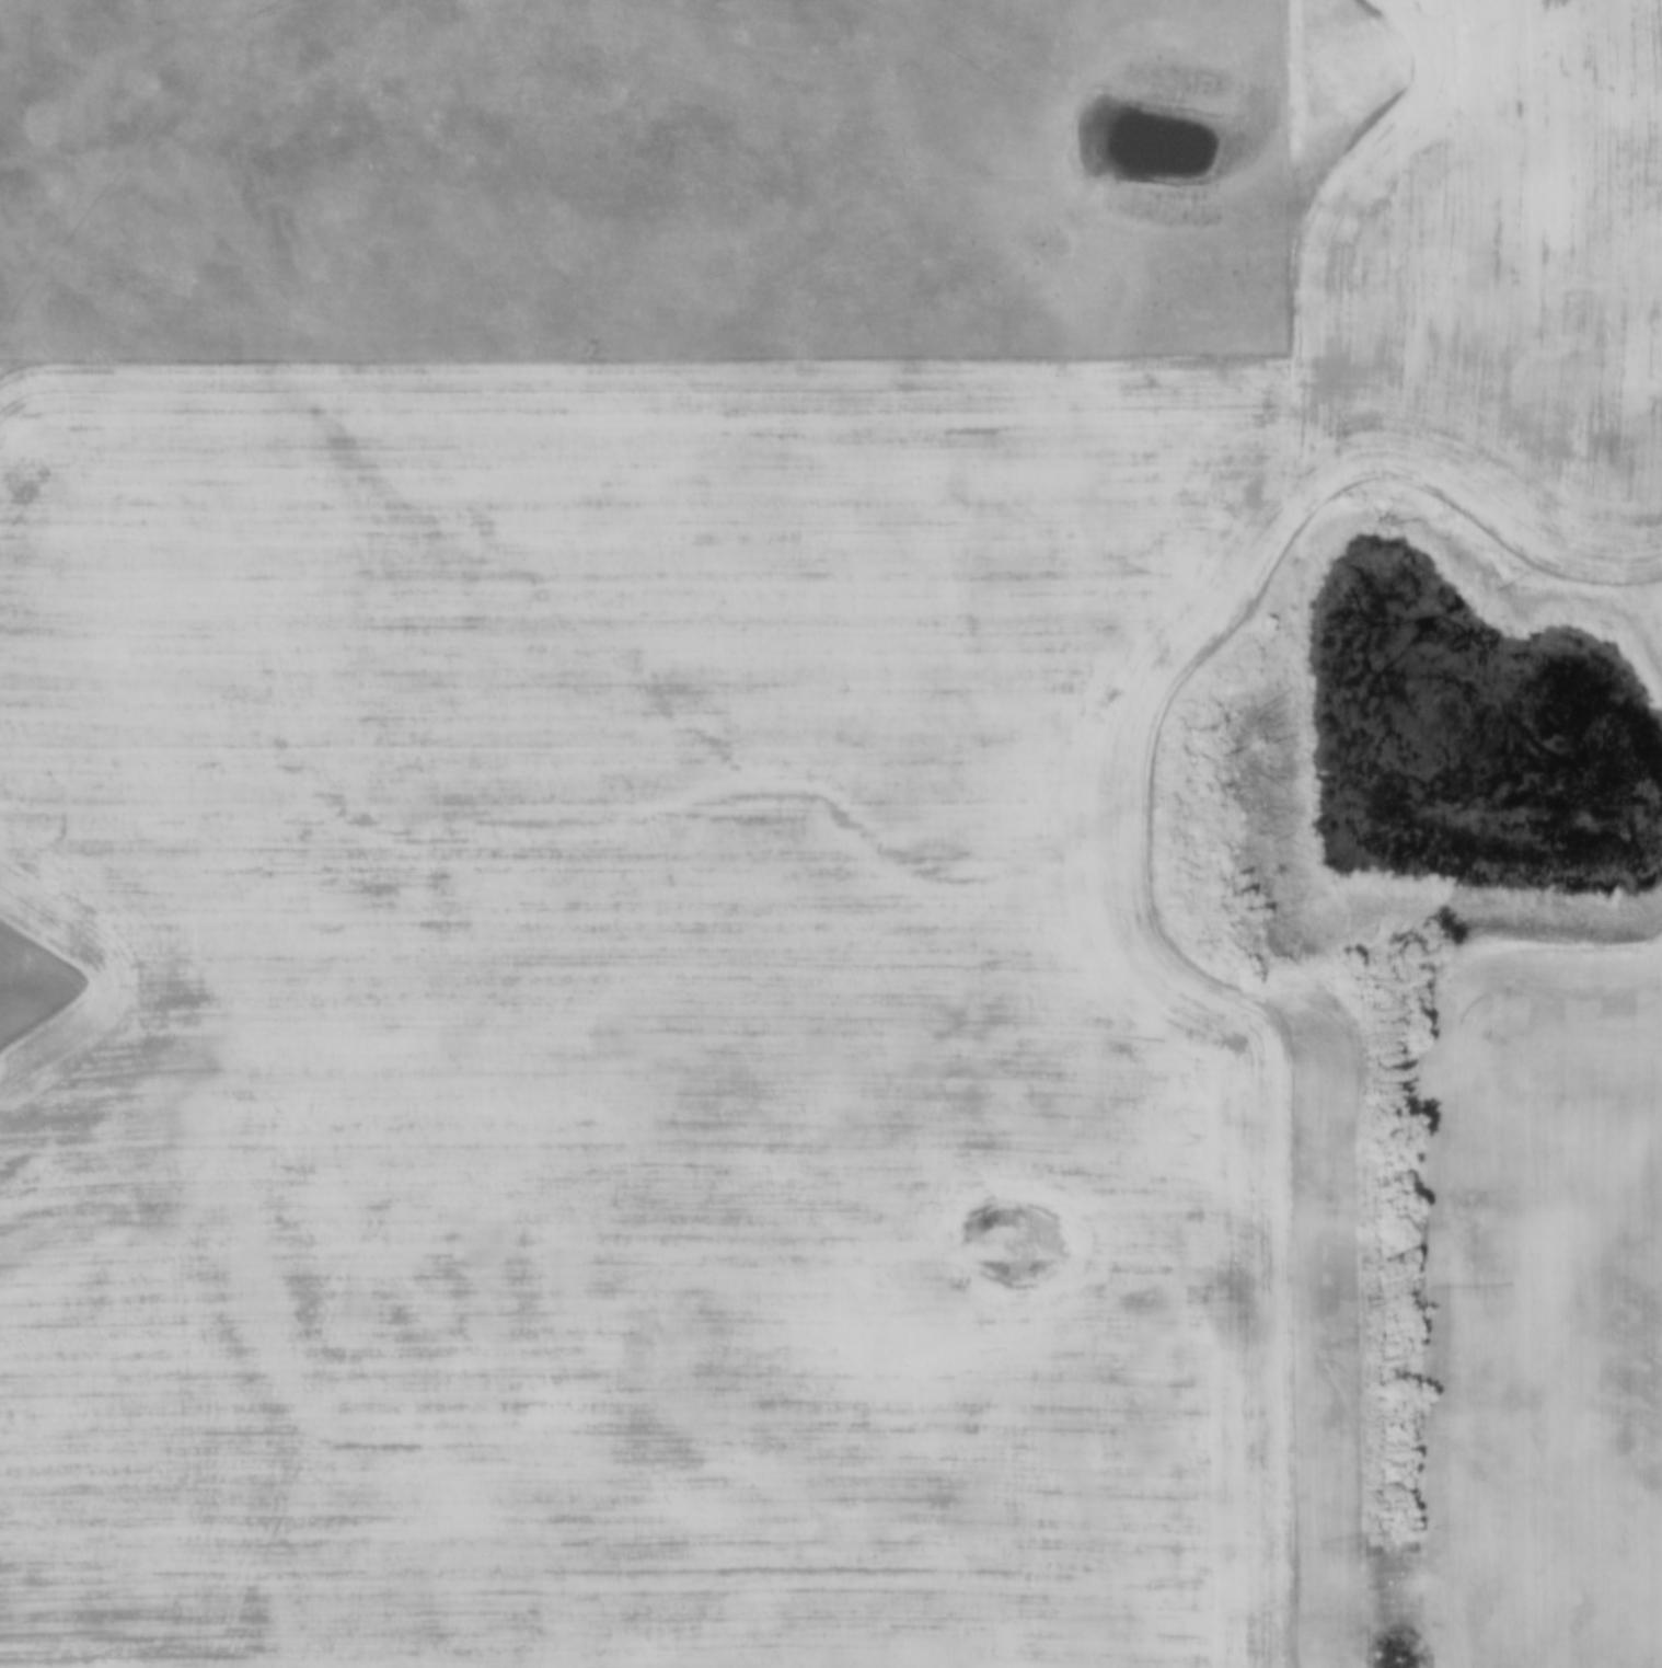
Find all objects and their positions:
road: (1260, 833)

